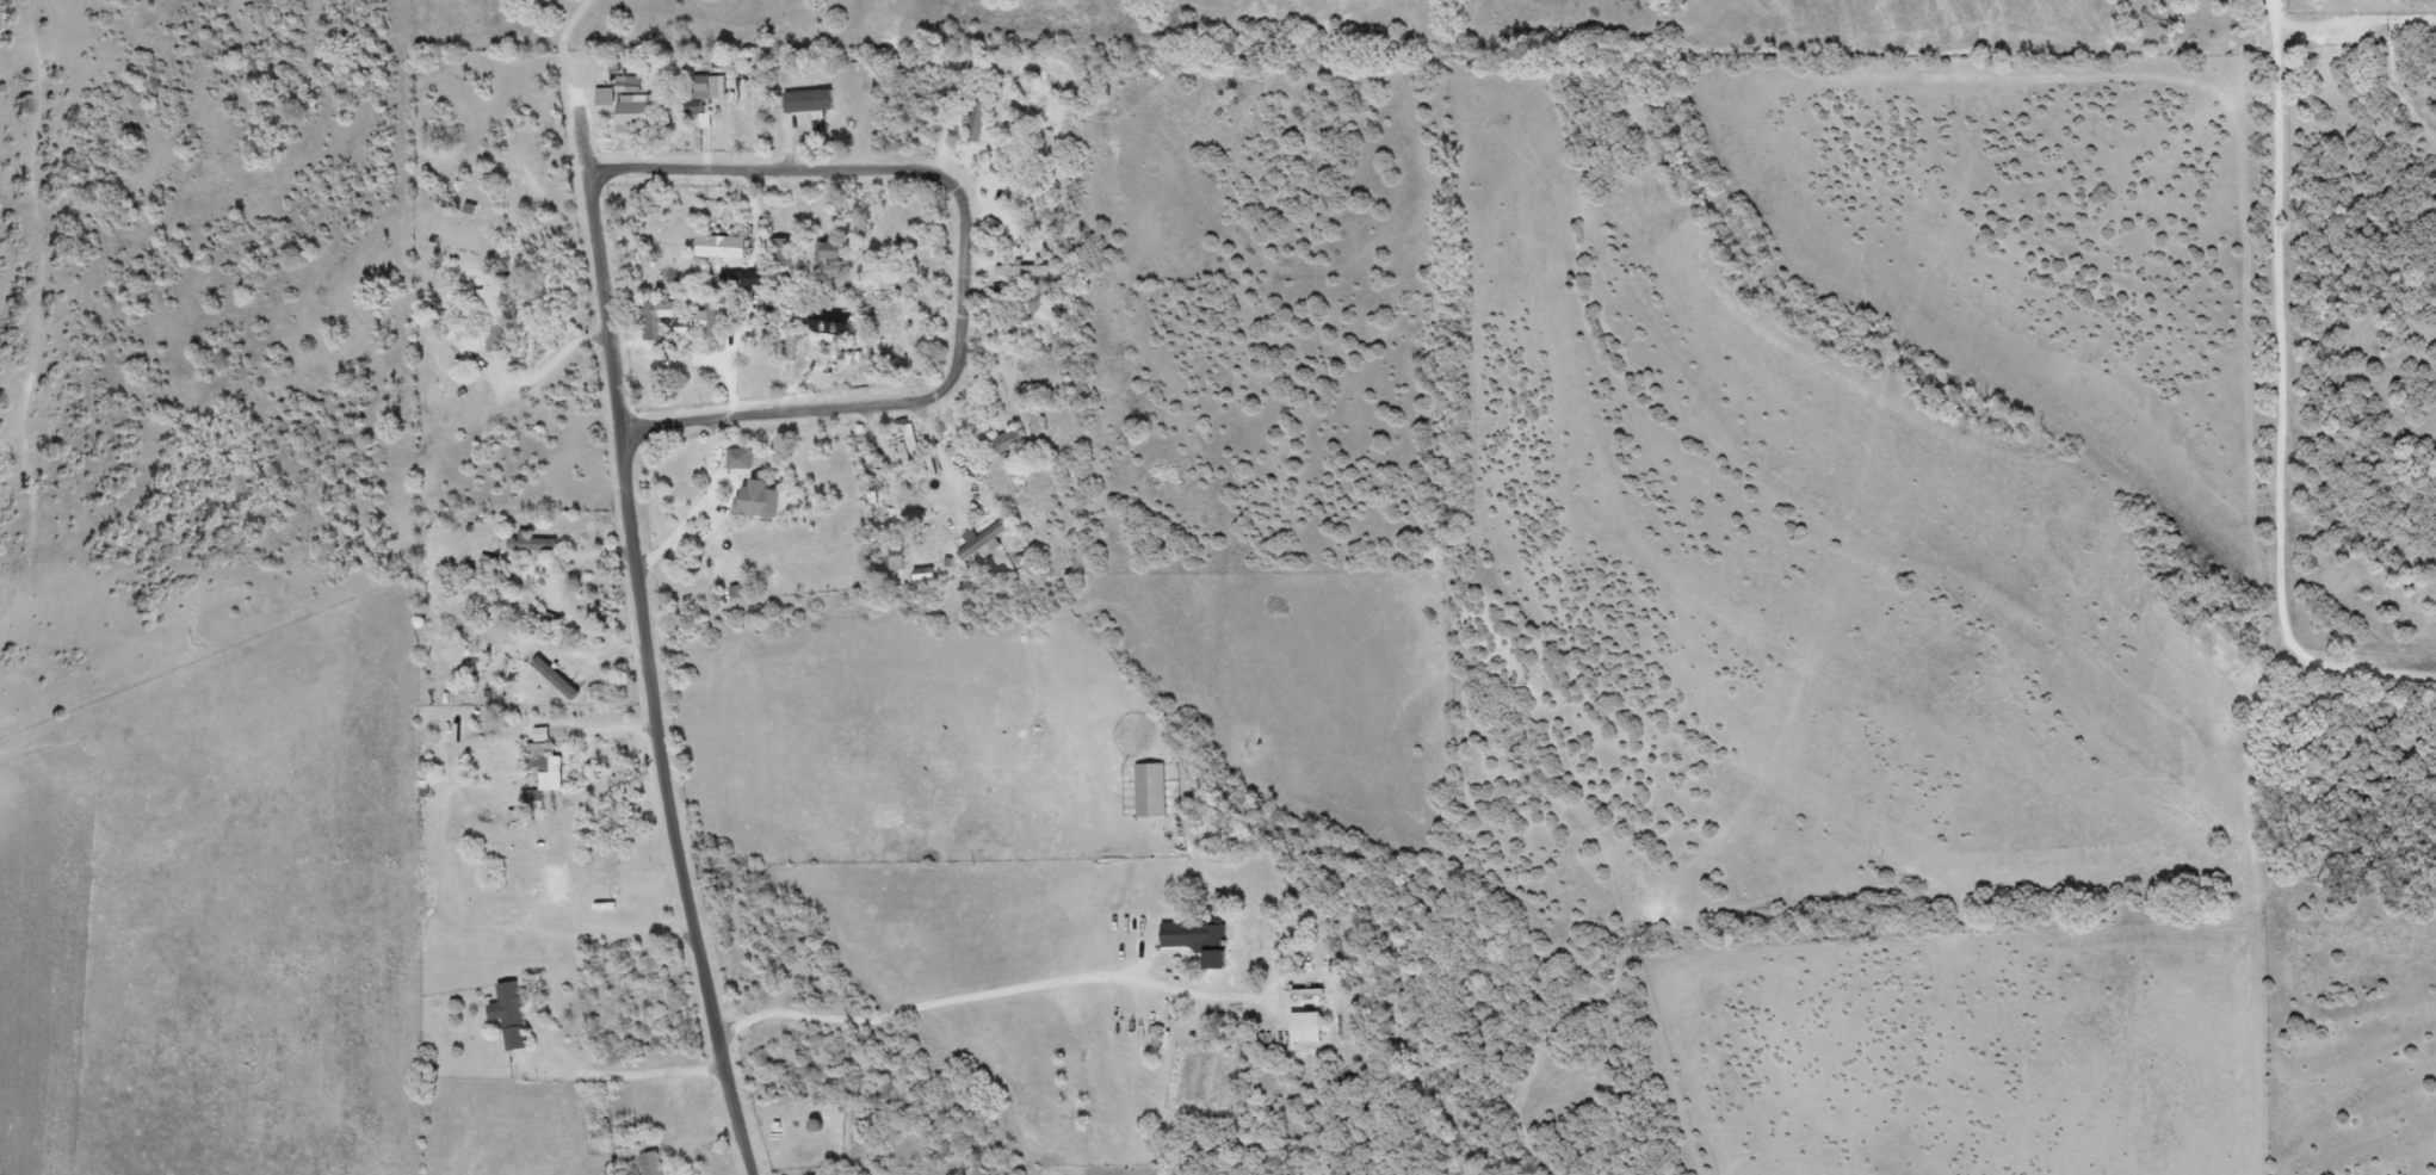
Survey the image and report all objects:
road: (2276, 29)
building: (611, 68)
building: (711, 87)
building: (624, 88)
building: (815, 99)
building: (641, 111)
building: (978, 113)
road: (581, 131)
building: (727, 247)
building: (785, 251)
building: (834, 251)
road: (960, 266)
building: (759, 278)
road: (602, 299)
building: (1031, 301)
building: (721, 309)
building: (496, 310)
building: (659, 321)
road: (546, 369)
road: (2280, 428)
building: (1014, 457)
road: (920, 475)
building: (767, 499)
building: (985, 539)
building: (536, 544)
building: (895, 558)
building: (735, 592)
building: (545, 767)
building: (1156, 791)
road: (669, 806)
building: (1201, 938)
road: (990, 995)
building: (513, 1014)
building: (1315, 1027)
road: (642, 1077)
building: (818, 1125)
building: (654, 1164)

